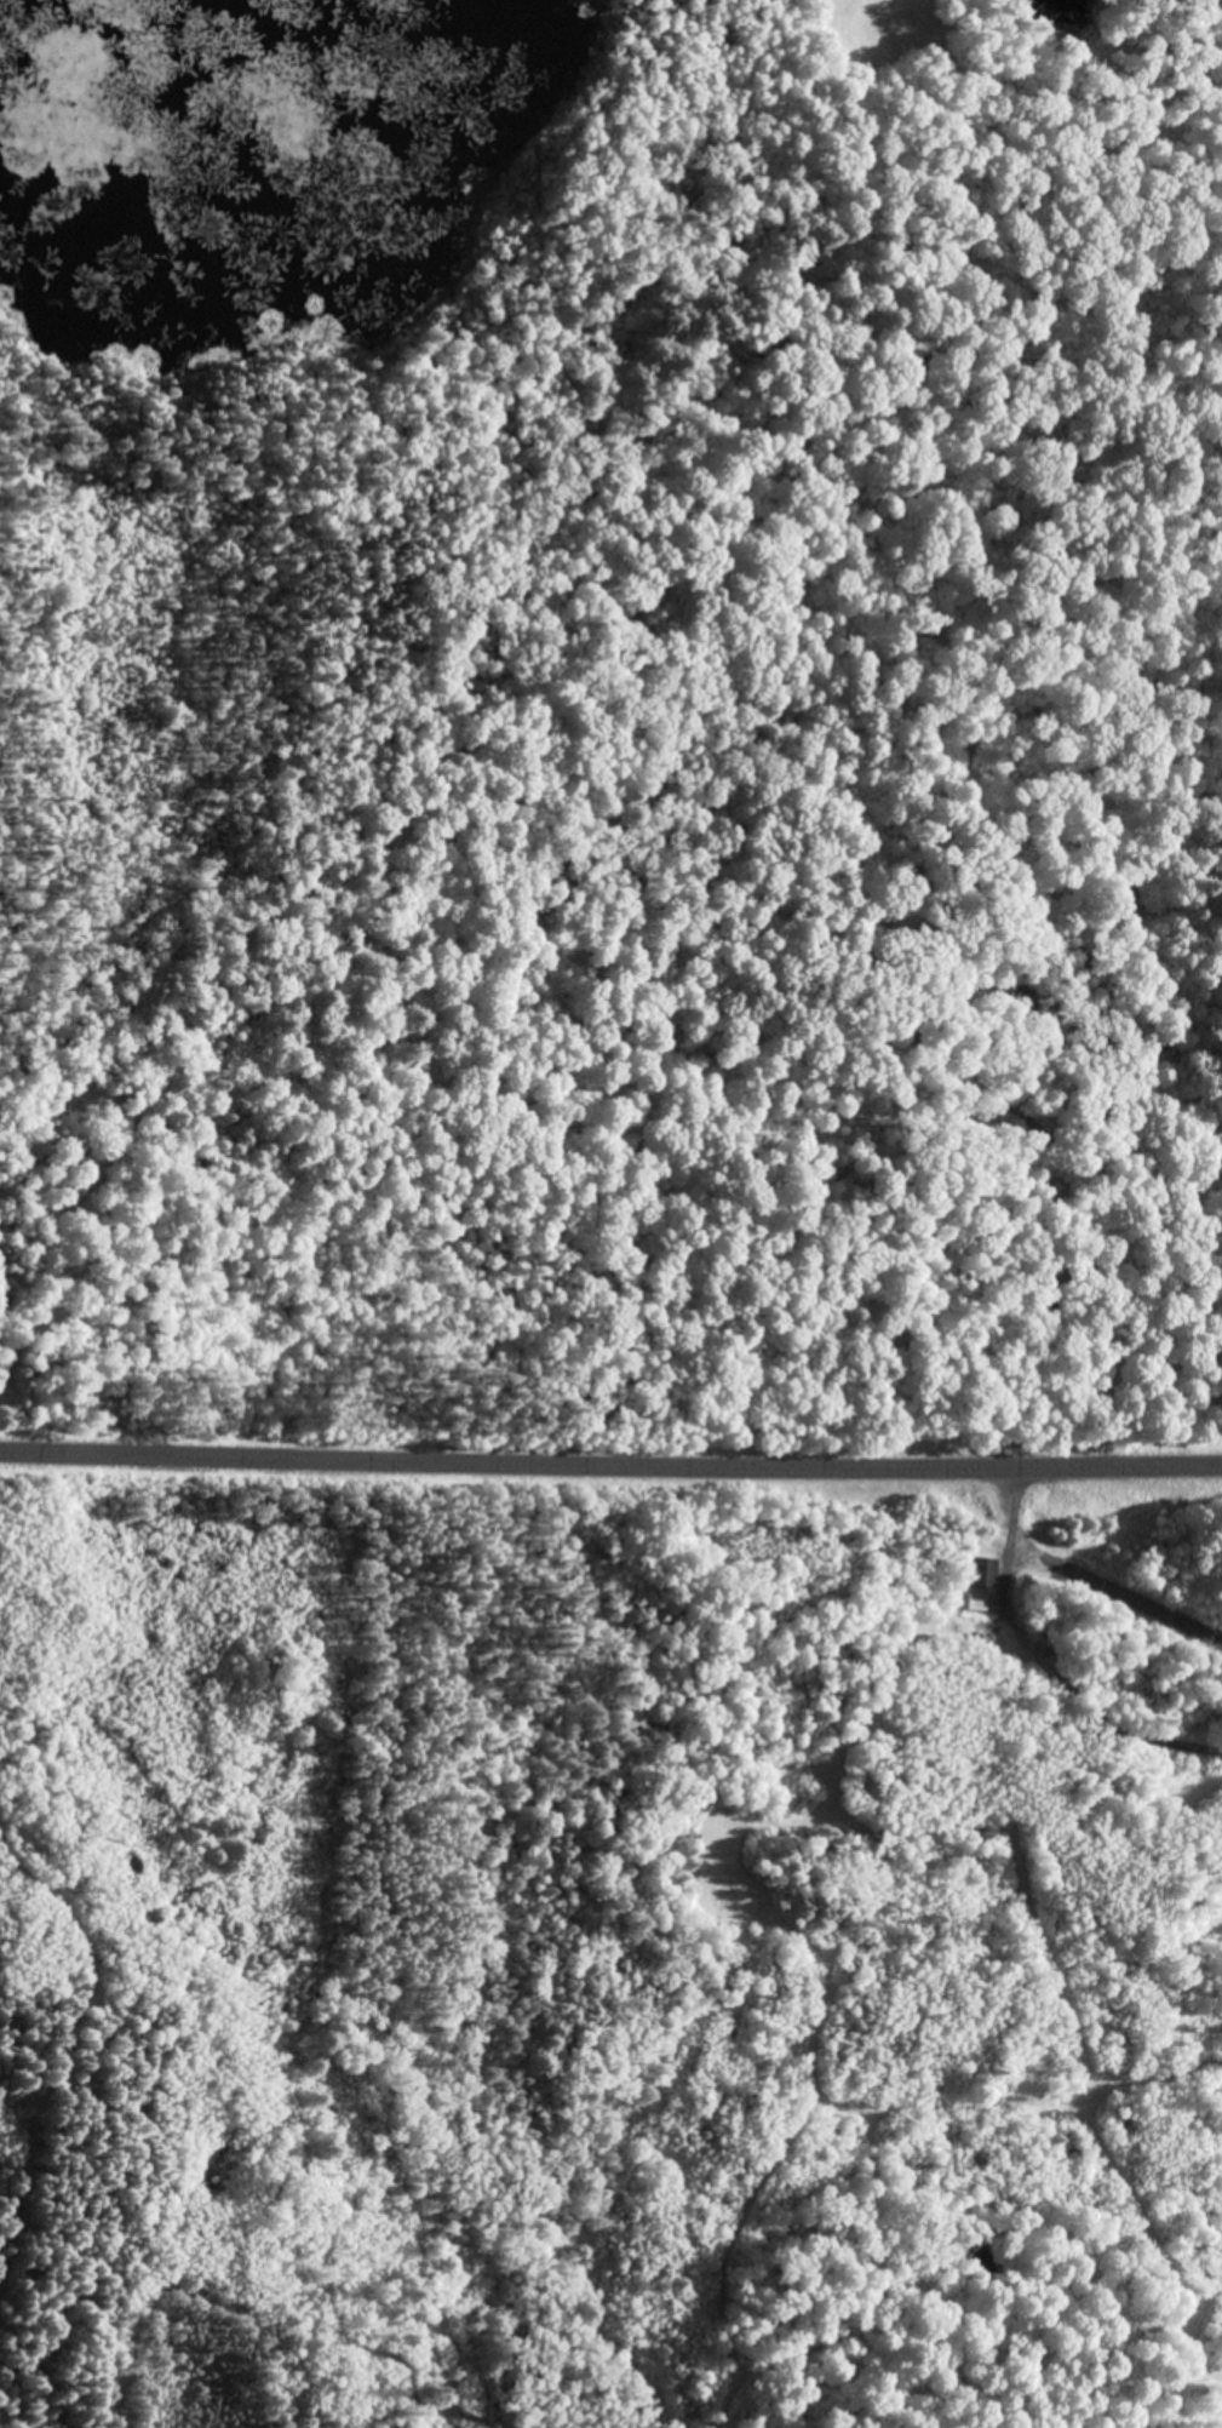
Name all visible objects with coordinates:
road: (610, 1472)
building: (980, 1575)
road: (1074, 1591)
building: (975, 1607)

